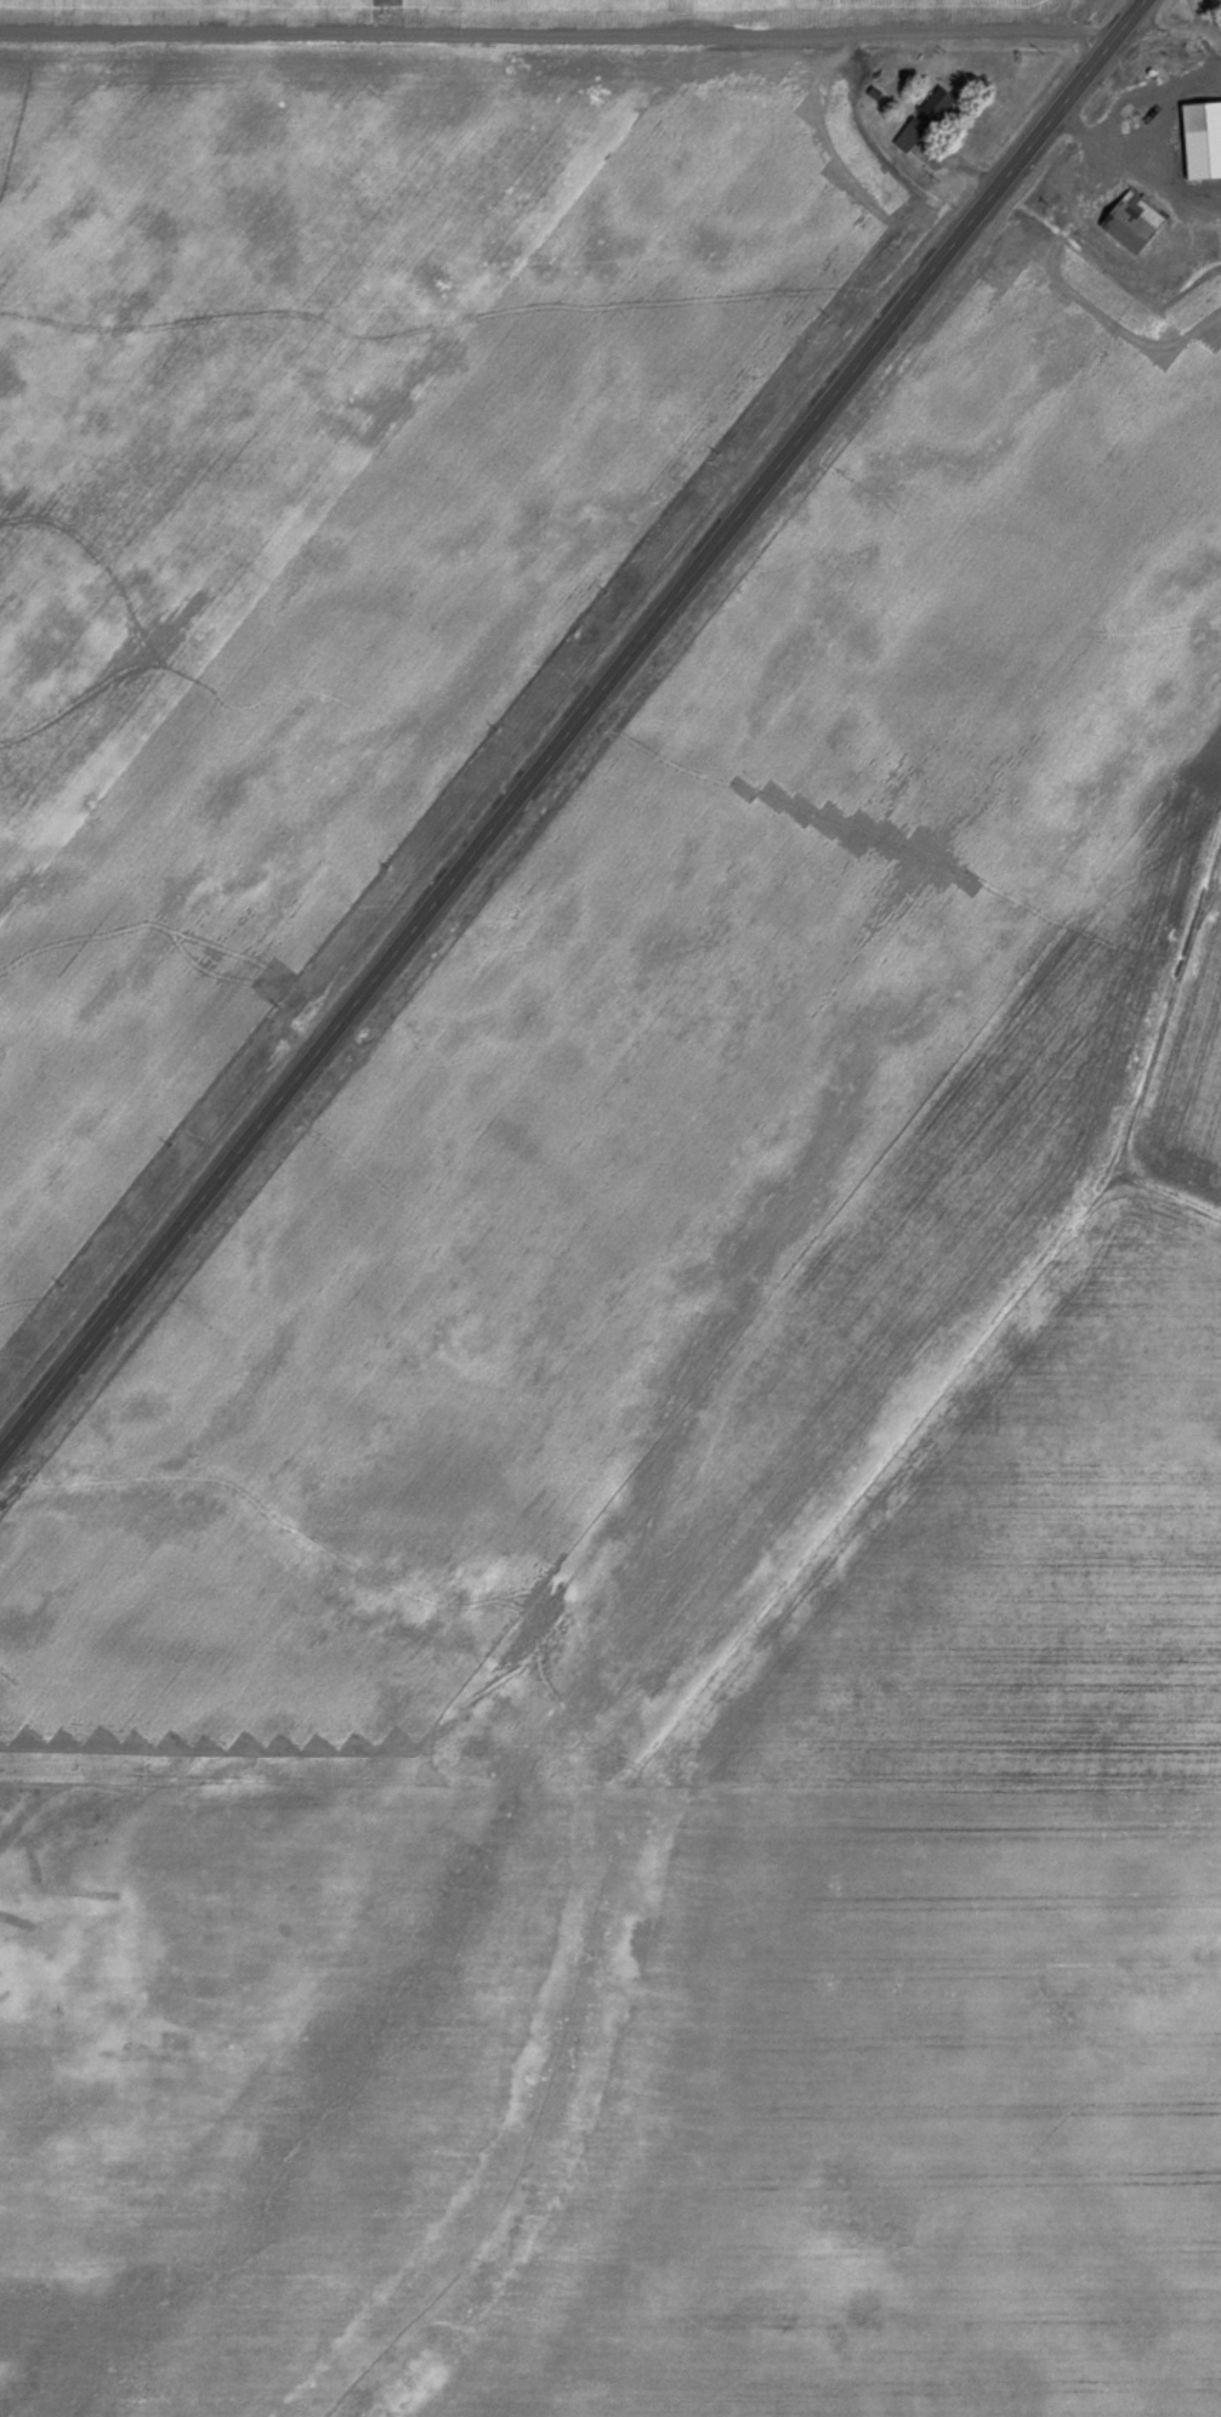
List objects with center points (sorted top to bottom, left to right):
road: (555, 29)
building: (873, 91)
building: (937, 102)
building: (909, 135)
building: (1204, 137)
building: (1135, 220)
road: (573, 727)

